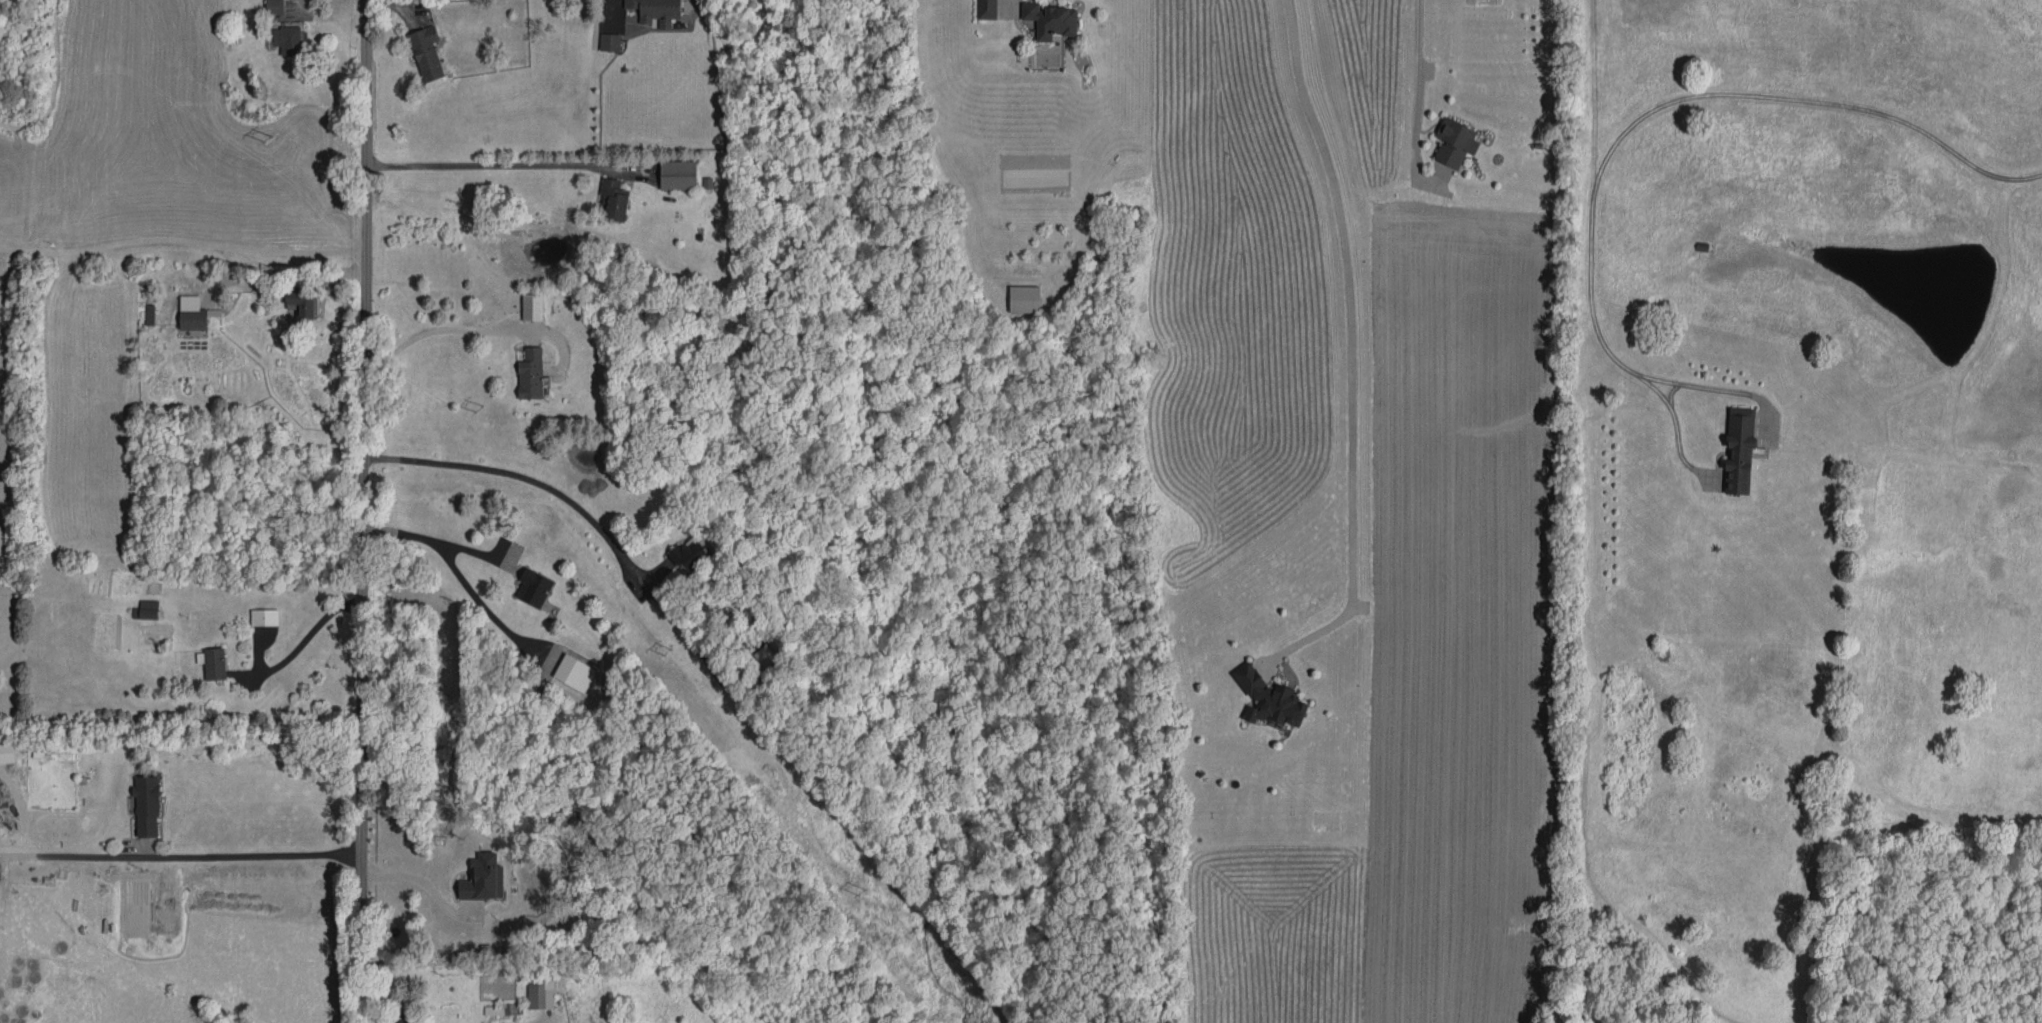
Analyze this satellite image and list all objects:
building: (274, 7)
building: (987, 9)
road: (609, 10)
building: (656, 10)
building: (1050, 20)
building: (287, 40)
building: (609, 42)
building: (426, 52)
road: (1414, 93)
road: (1805, 100)
power tower: (265, 138)
building: (1454, 142)
road: (490, 166)
building: (678, 174)
building: (613, 199)
road: (183, 244)
road: (1589, 280)
building: (1024, 299)
building: (303, 303)
building: (532, 306)
building: (192, 313)
building: (149, 314)
road: (443, 329)
road: (1350, 342)
building: (531, 374)
road: (1669, 390)
power tower: (479, 410)
road: (1674, 424)
building: (1739, 450)
road: (523, 477)
road: (362, 511)
road: (431, 535)
building: (688, 555)
building: (534, 587)
building: (147, 609)
building: (264, 617)
power tower: (668, 654)
building: (769, 659)
building: (213, 663)
building: (574, 672)
building: (1269, 698)
building: (7, 753)
building: (146, 806)
road: (181, 858)
building: (484, 878)
road: (417, 881)
power tower: (861, 897)
building: (540, 990)
building: (494, 1010)
building: (401, 1020)

